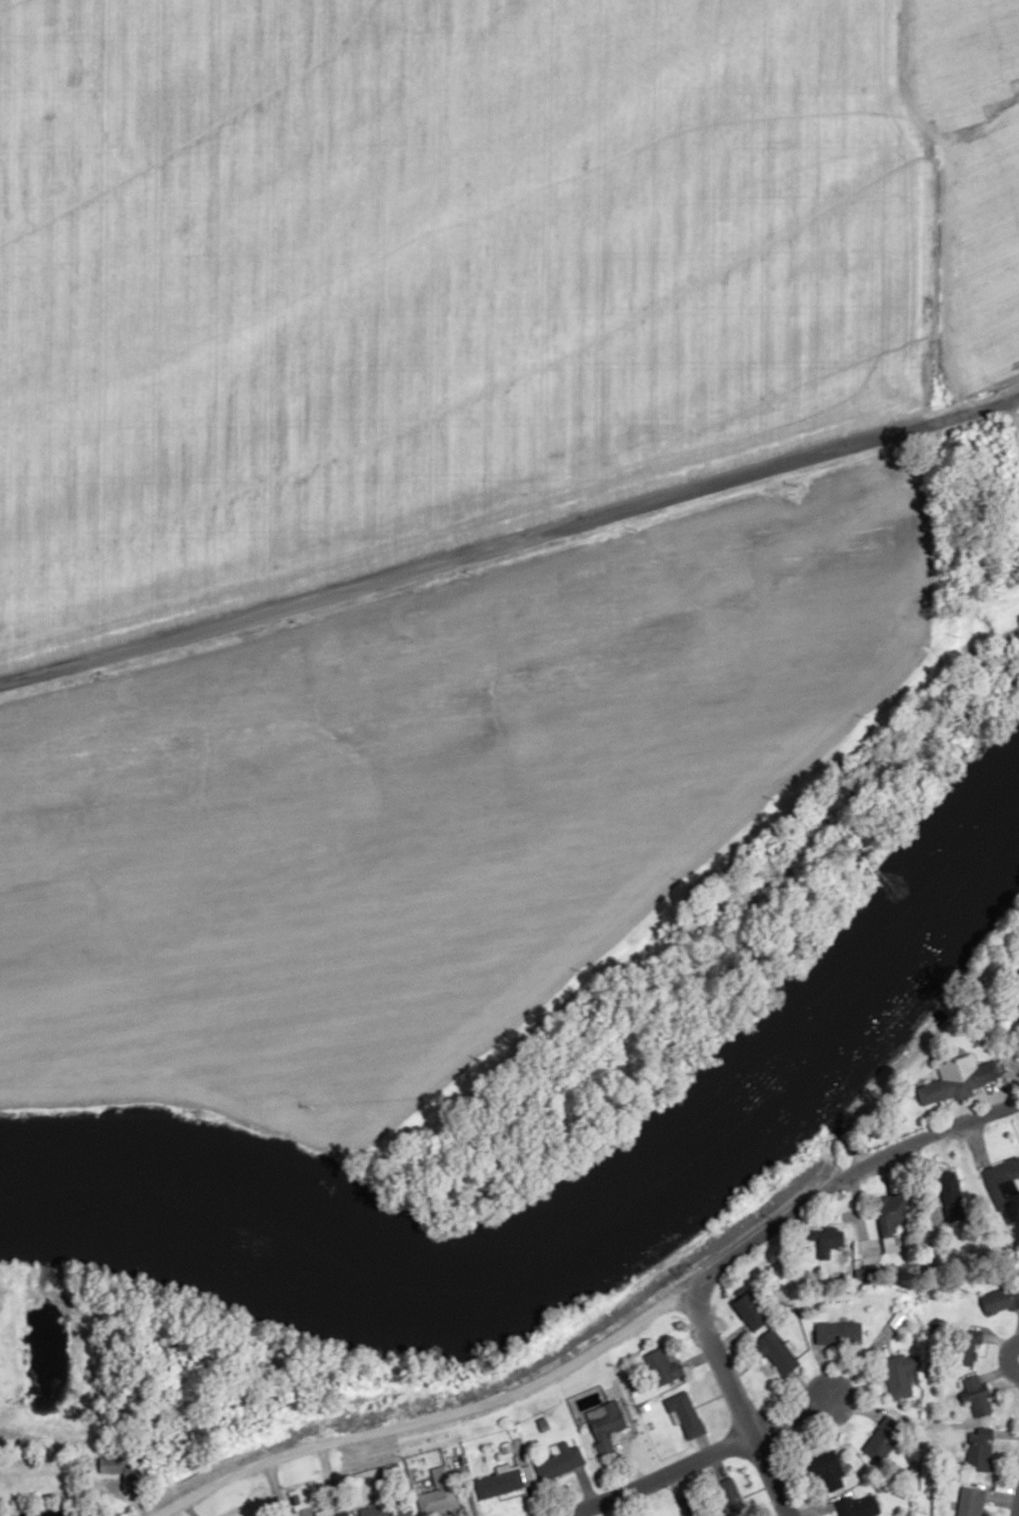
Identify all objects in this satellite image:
road: (940, 203)
road: (511, 543)
building: (956, 1079)
building: (1001, 1181)
building: (951, 1197)
building: (896, 1212)
river: (588, 1251)
building: (1000, 1298)
building: (754, 1311)
building: (839, 1333)
road: (605, 1342)
building: (964, 1347)
building: (778, 1353)
road: (1007, 1357)
building: (663, 1368)
building: (901, 1374)
building: (977, 1395)
road: (734, 1402)
building: (686, 1414)
road: (788, 1417)
building: (606, 1425)
building: (883, 1438)
building: (979, 1452)
building: (560, 1462)
building: (829, 1466)
building: (127, 1471)
road: (651, 1476)
building: (499, 1482)
building: (882, 1482)
building: (439, 1493)
road: (1015, 1497)
building: (970, 1502)
building: (687, 1505)
building: (857, 1506)
building: (387, 1508)
building: (340, 1514)
road: (559, 1515)

